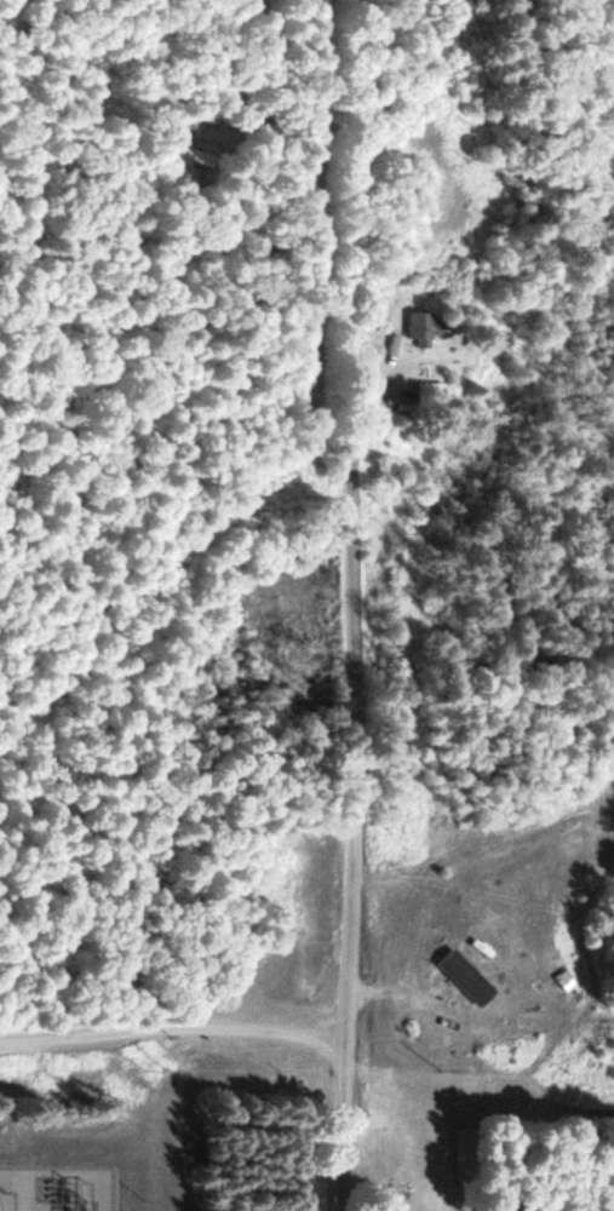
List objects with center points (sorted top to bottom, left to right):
building: (195, 153)
building: (430, 328)
building: (435, 394)
road: (352, 605)
building: (458, 977)
road: (174, 1028)
power substation: (58, 1189)

